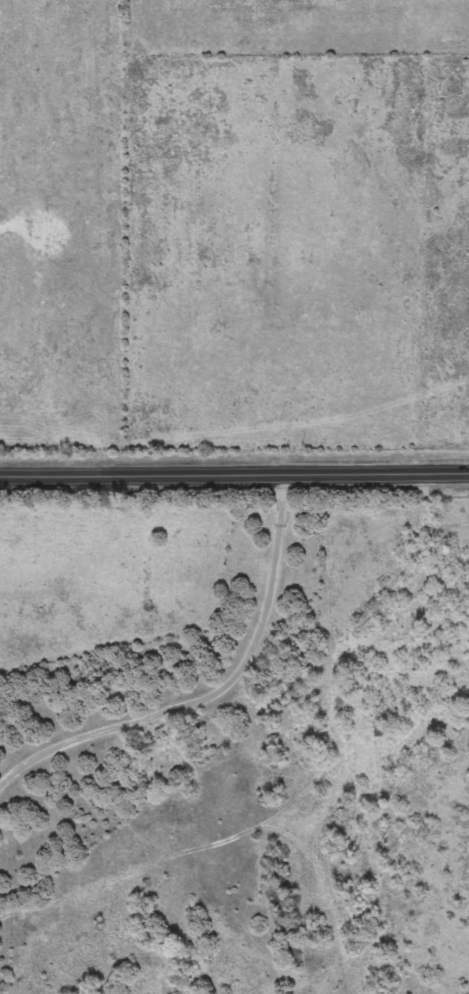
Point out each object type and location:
road: (234, 472)
road: (404, 687)
road: (215, 690)
building: (382, 728)

